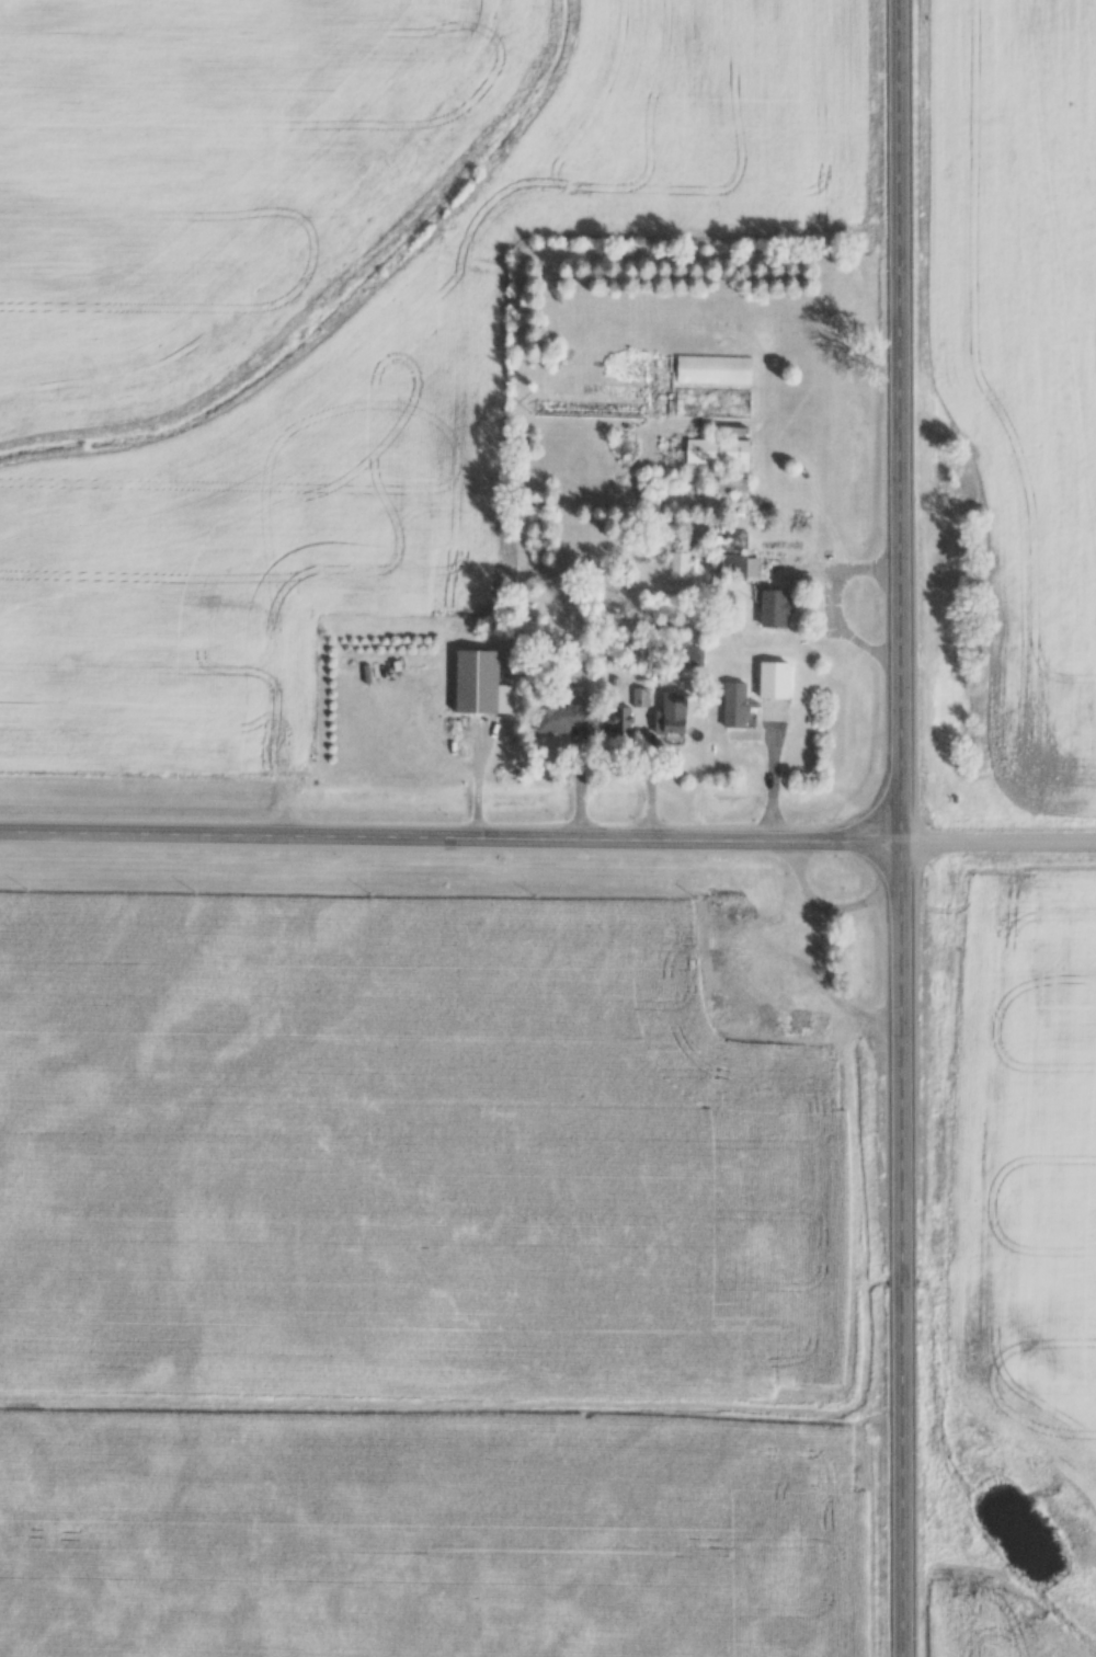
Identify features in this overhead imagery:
building: (723, 465)
building: (728, 541)
building: (739, 568)
building: (777, 610)
building: (776, 682)
building: (479, 683)
building: (737, 707)
building: (674, 716)
building: (560, 717)
road: (902, 827)
road: (450, 841)
road: (1000, 843)
road: (812, 961)
building: (754, 976)

